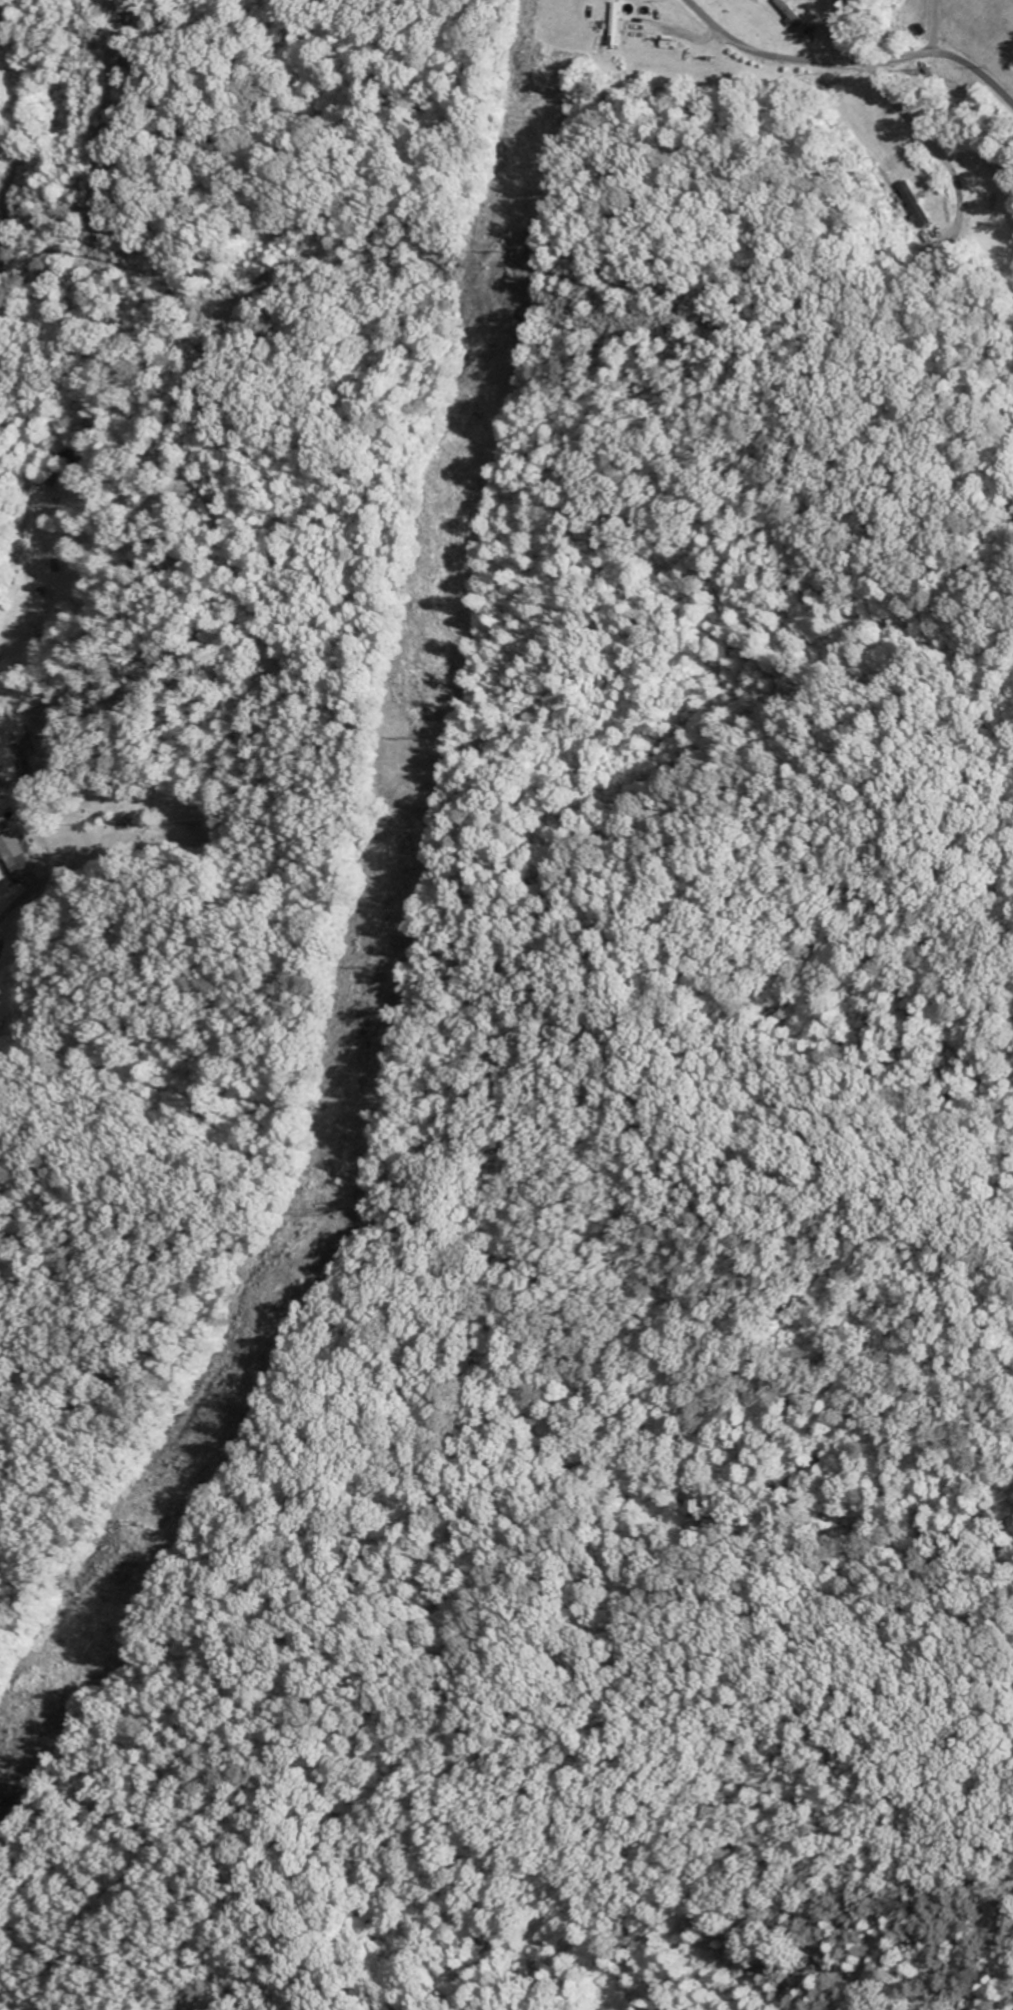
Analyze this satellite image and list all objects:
building: (792, 15)
building: (618, 26)
road: (850, 64)
road: (917, 131)
building: (917, 207)
power tower: (517, 249)
power tower: (419, 737)
building: (14, 855)
power tower: (371, 968)
power tower: (329, 1211)
power tower: (144, 1523)
road: (43, 1581)
power tower: (4, 1759)

